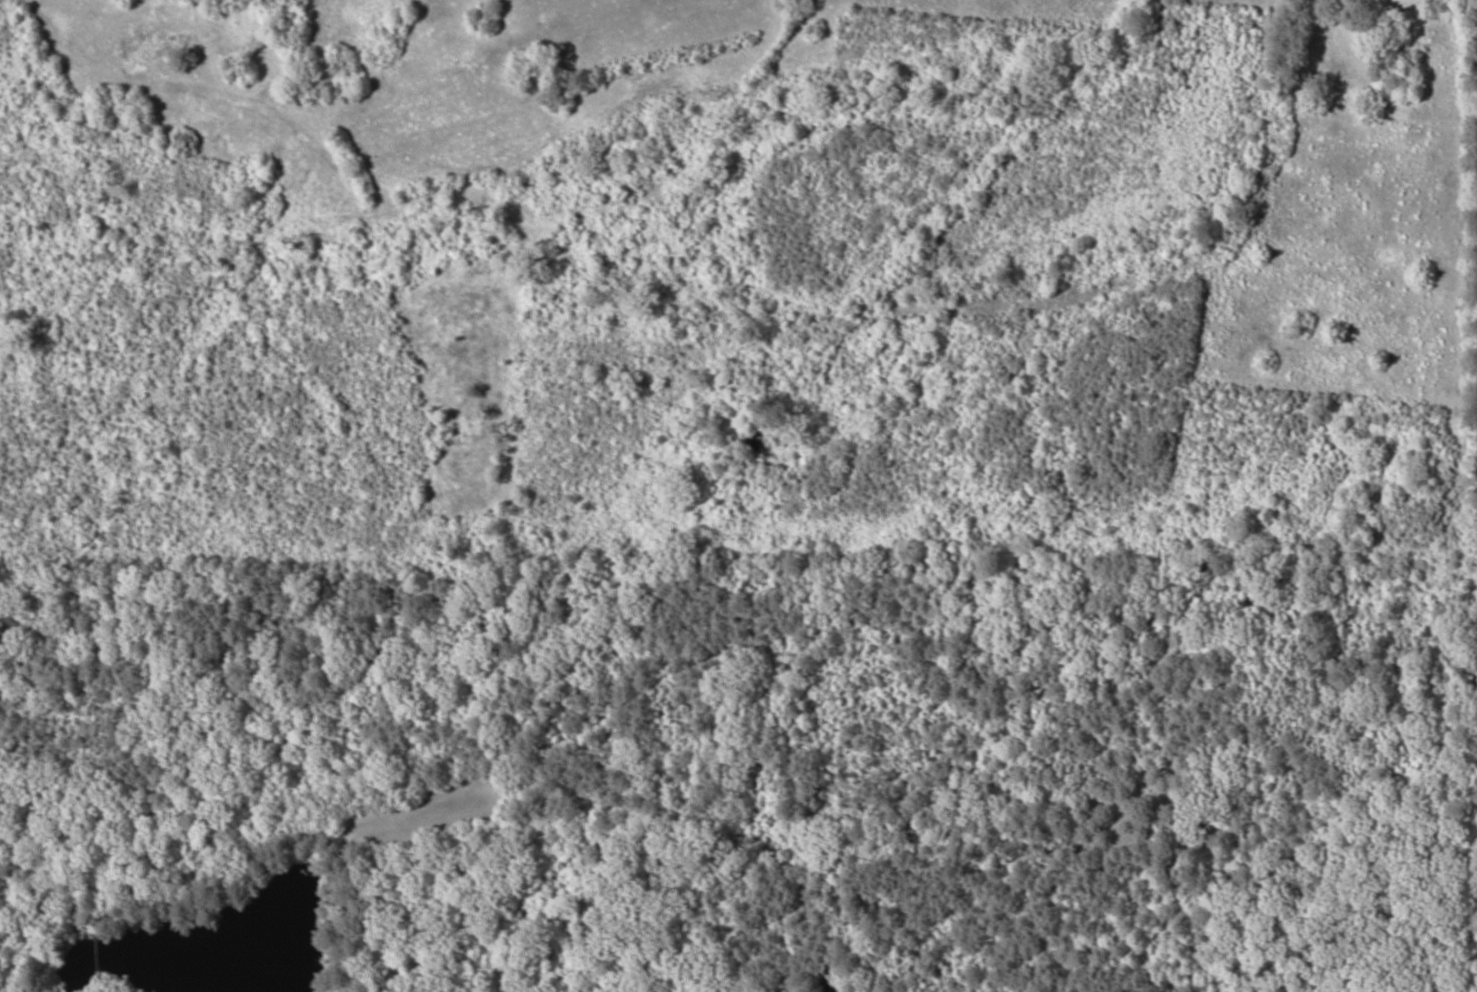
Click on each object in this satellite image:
building: (324, 78)

